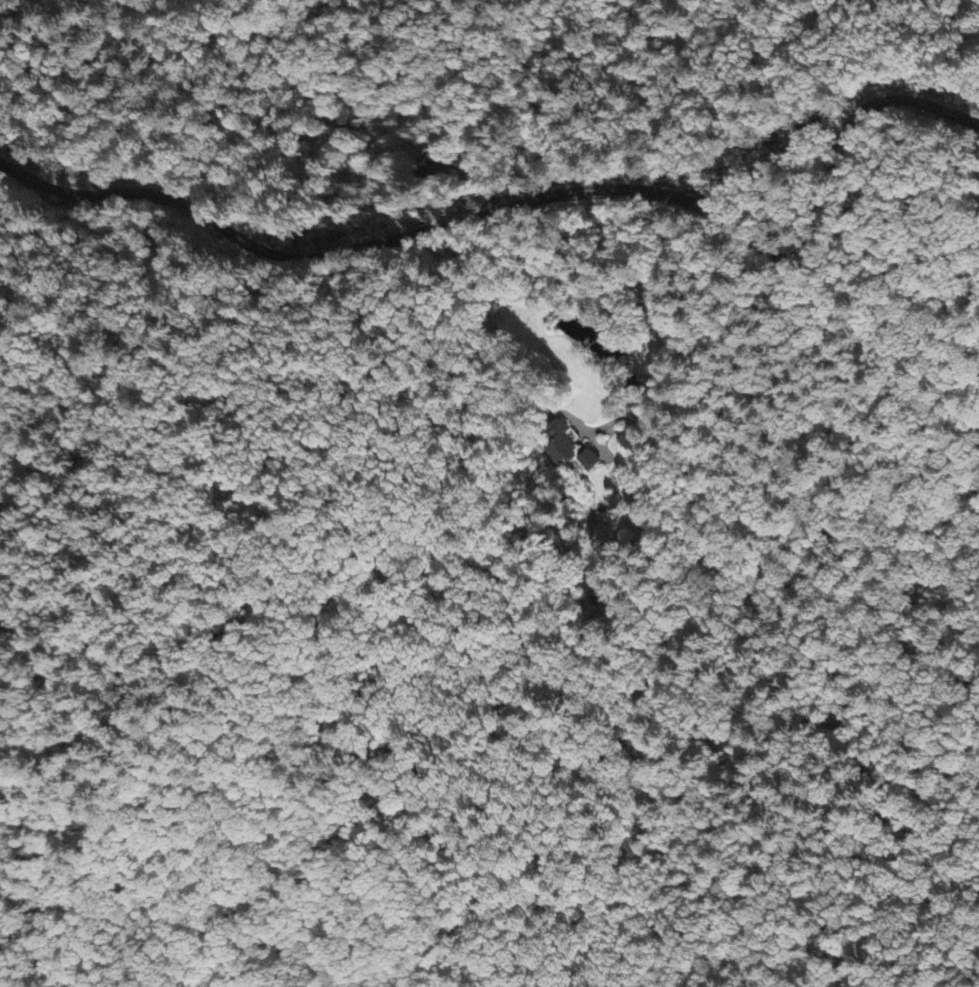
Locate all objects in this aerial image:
road: (540, 196)
building: (569, 452)

